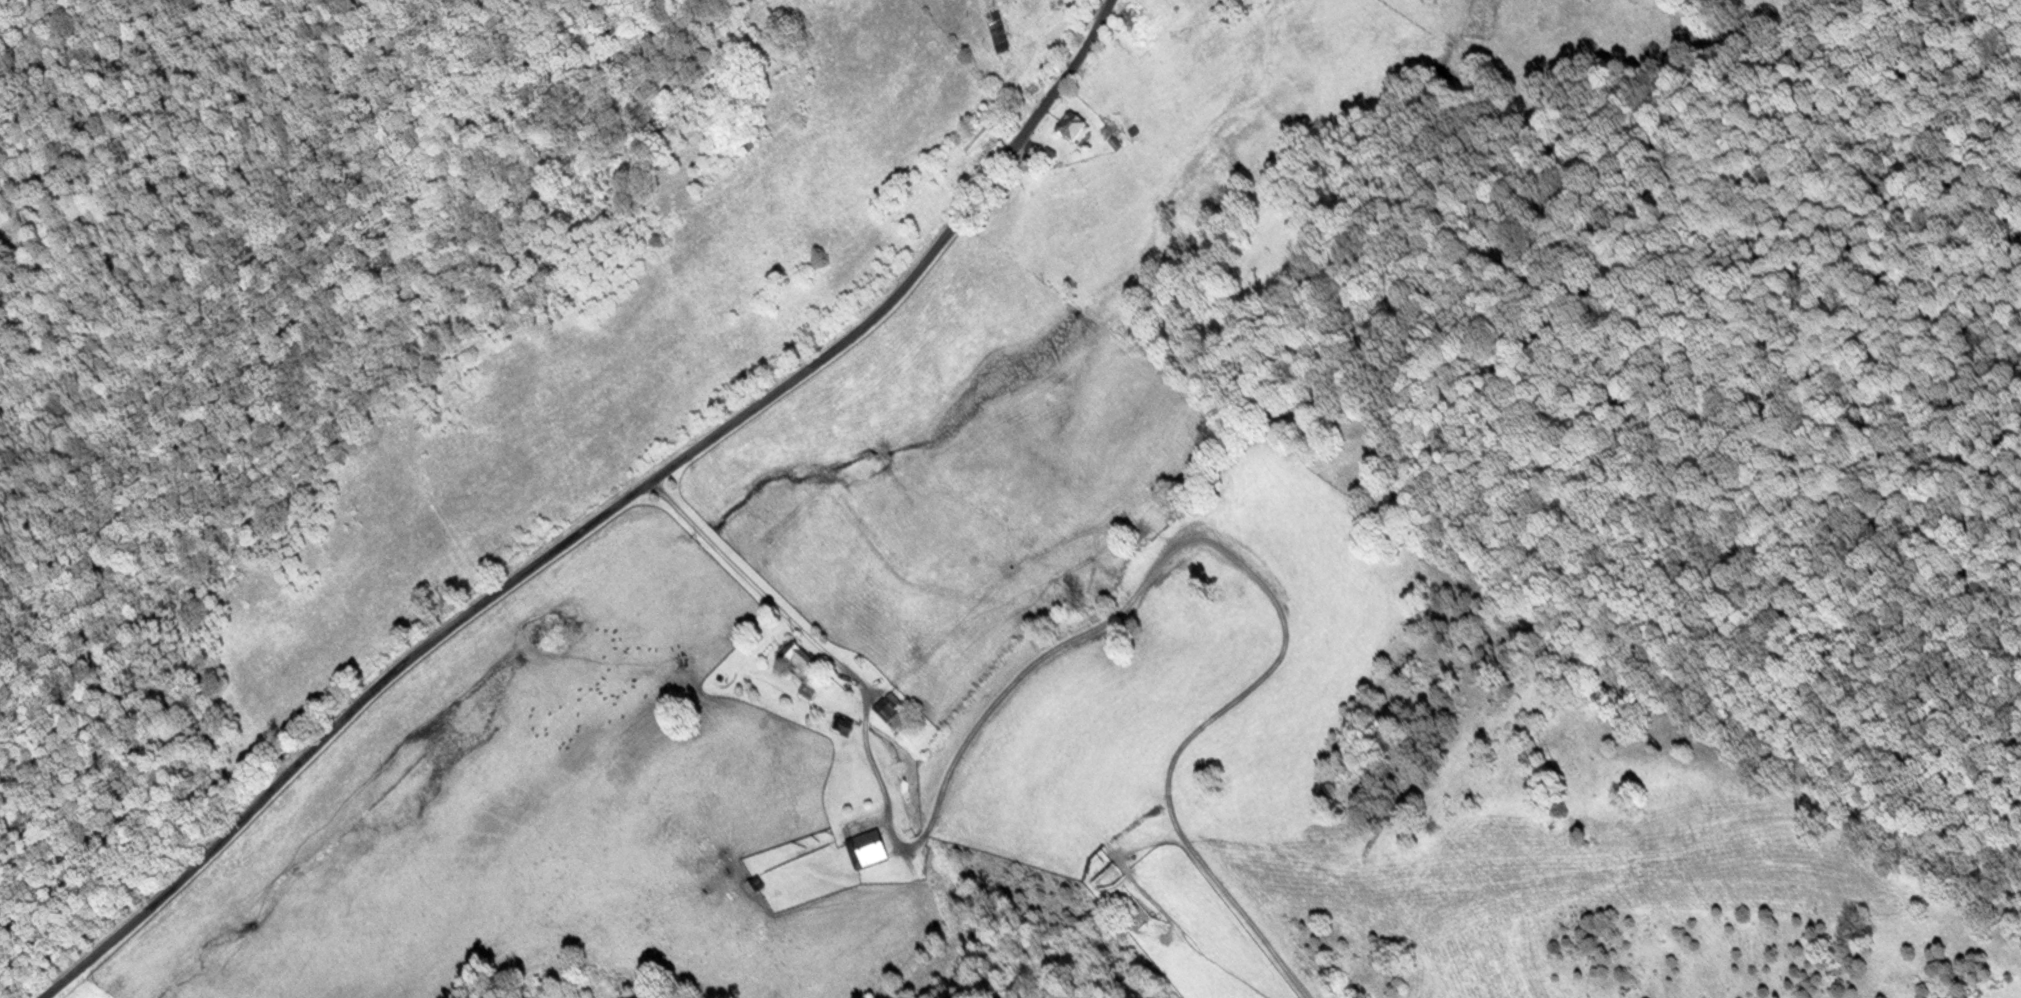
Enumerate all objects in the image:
building: (1139, 16)
building: (1026, 89)
building: (1076, 127)
building: (1110, 130)
building: (1137, 130)
building: (1117, 143)
road: (601, 516)
road: (1255, 580)
road: (818, 641)
building: (799, 663)
building: (807, 694)
building: (888, 706)
building: (842, 723)
building: (868, 850)

